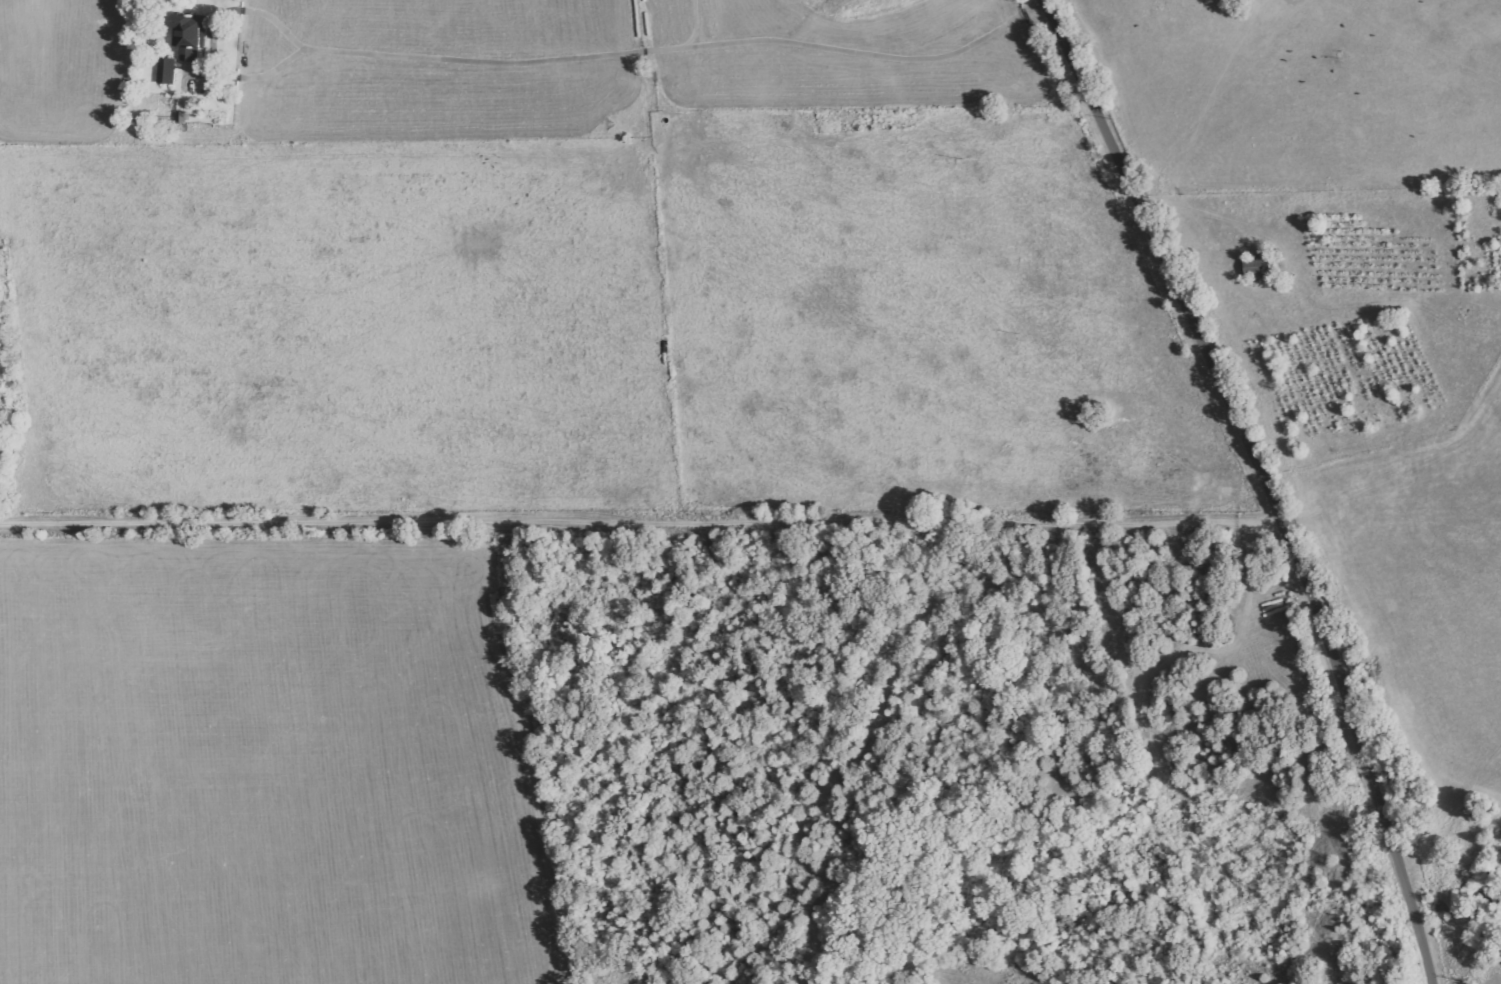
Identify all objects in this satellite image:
building: (189, 39)
building: (167, 72)
road: (1263, 482)

